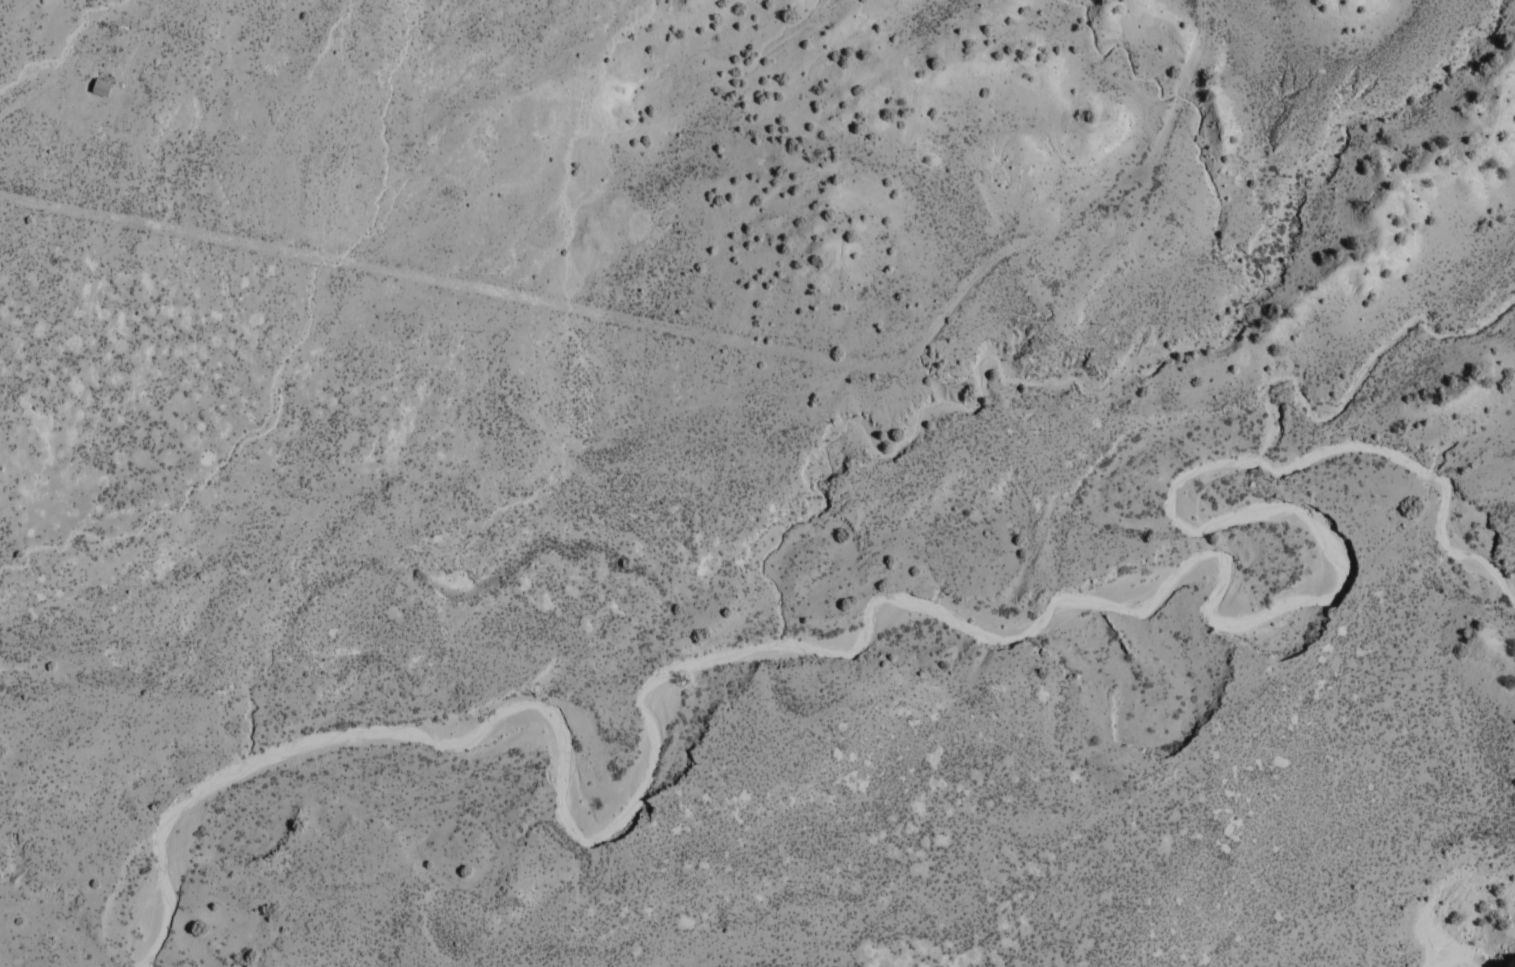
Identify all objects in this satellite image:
building: (101, 88)
river: (1109, 690)

